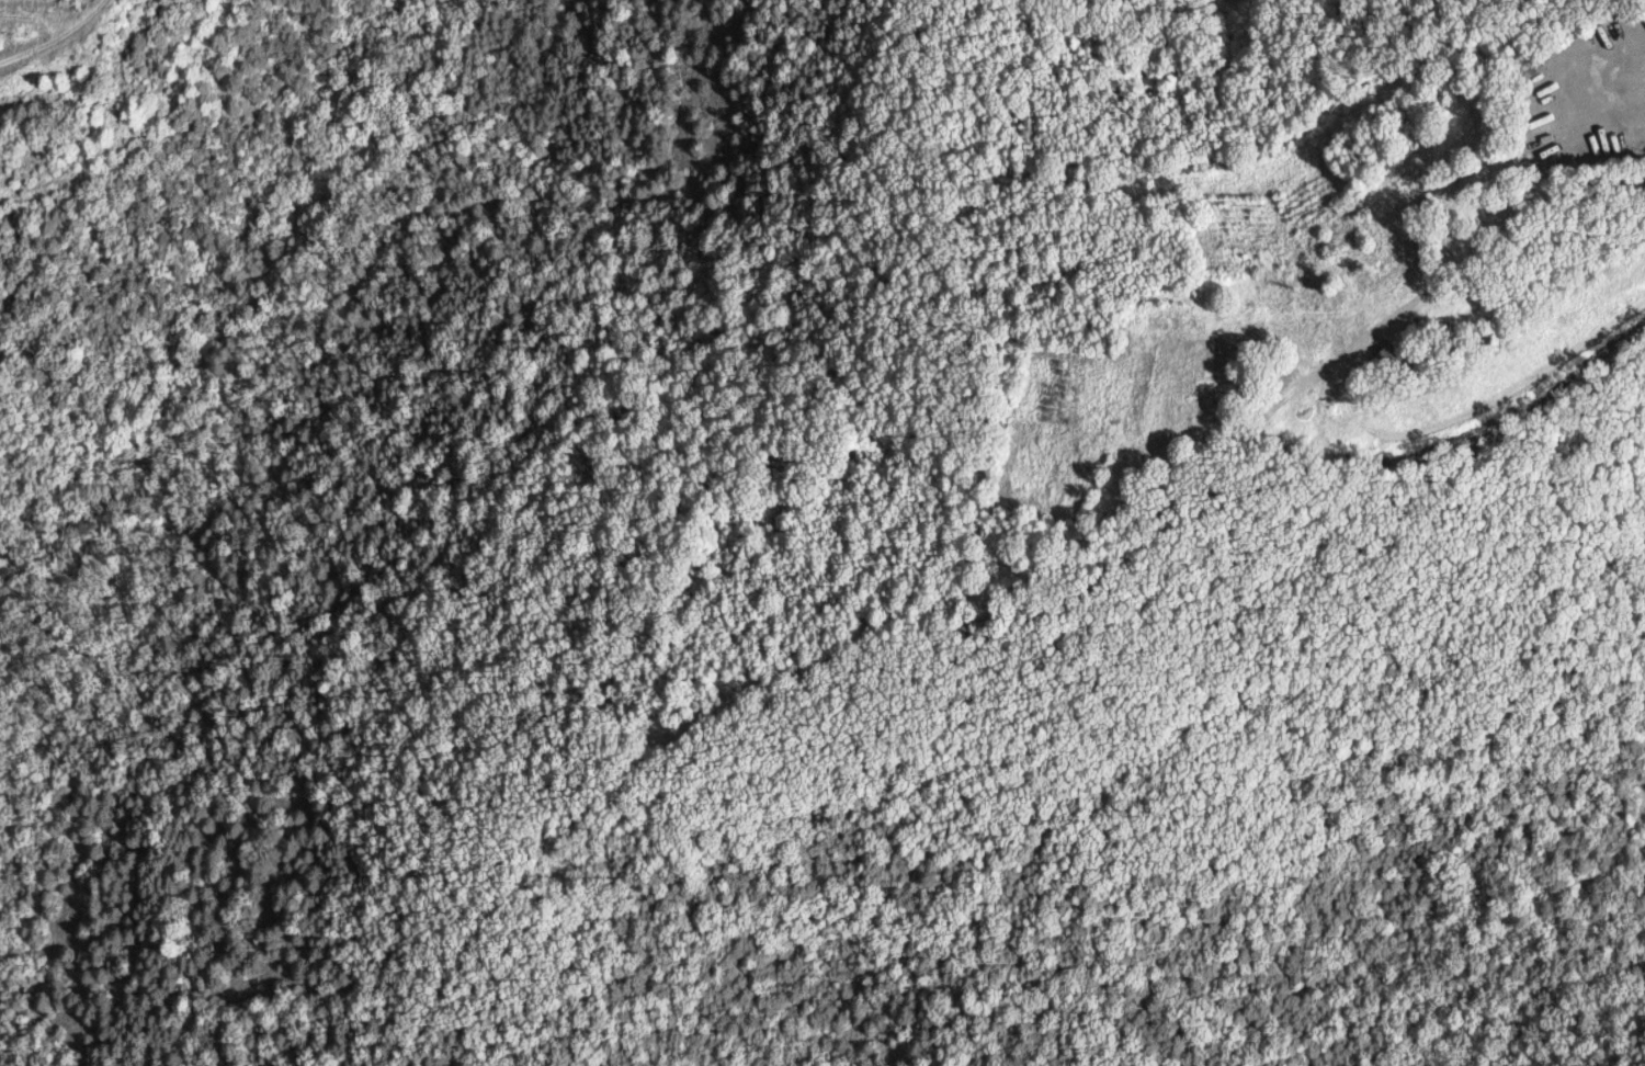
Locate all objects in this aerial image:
road: (38, 19)
road: (54, 37)
building: (1384, 268)
road: (1443, 277)

